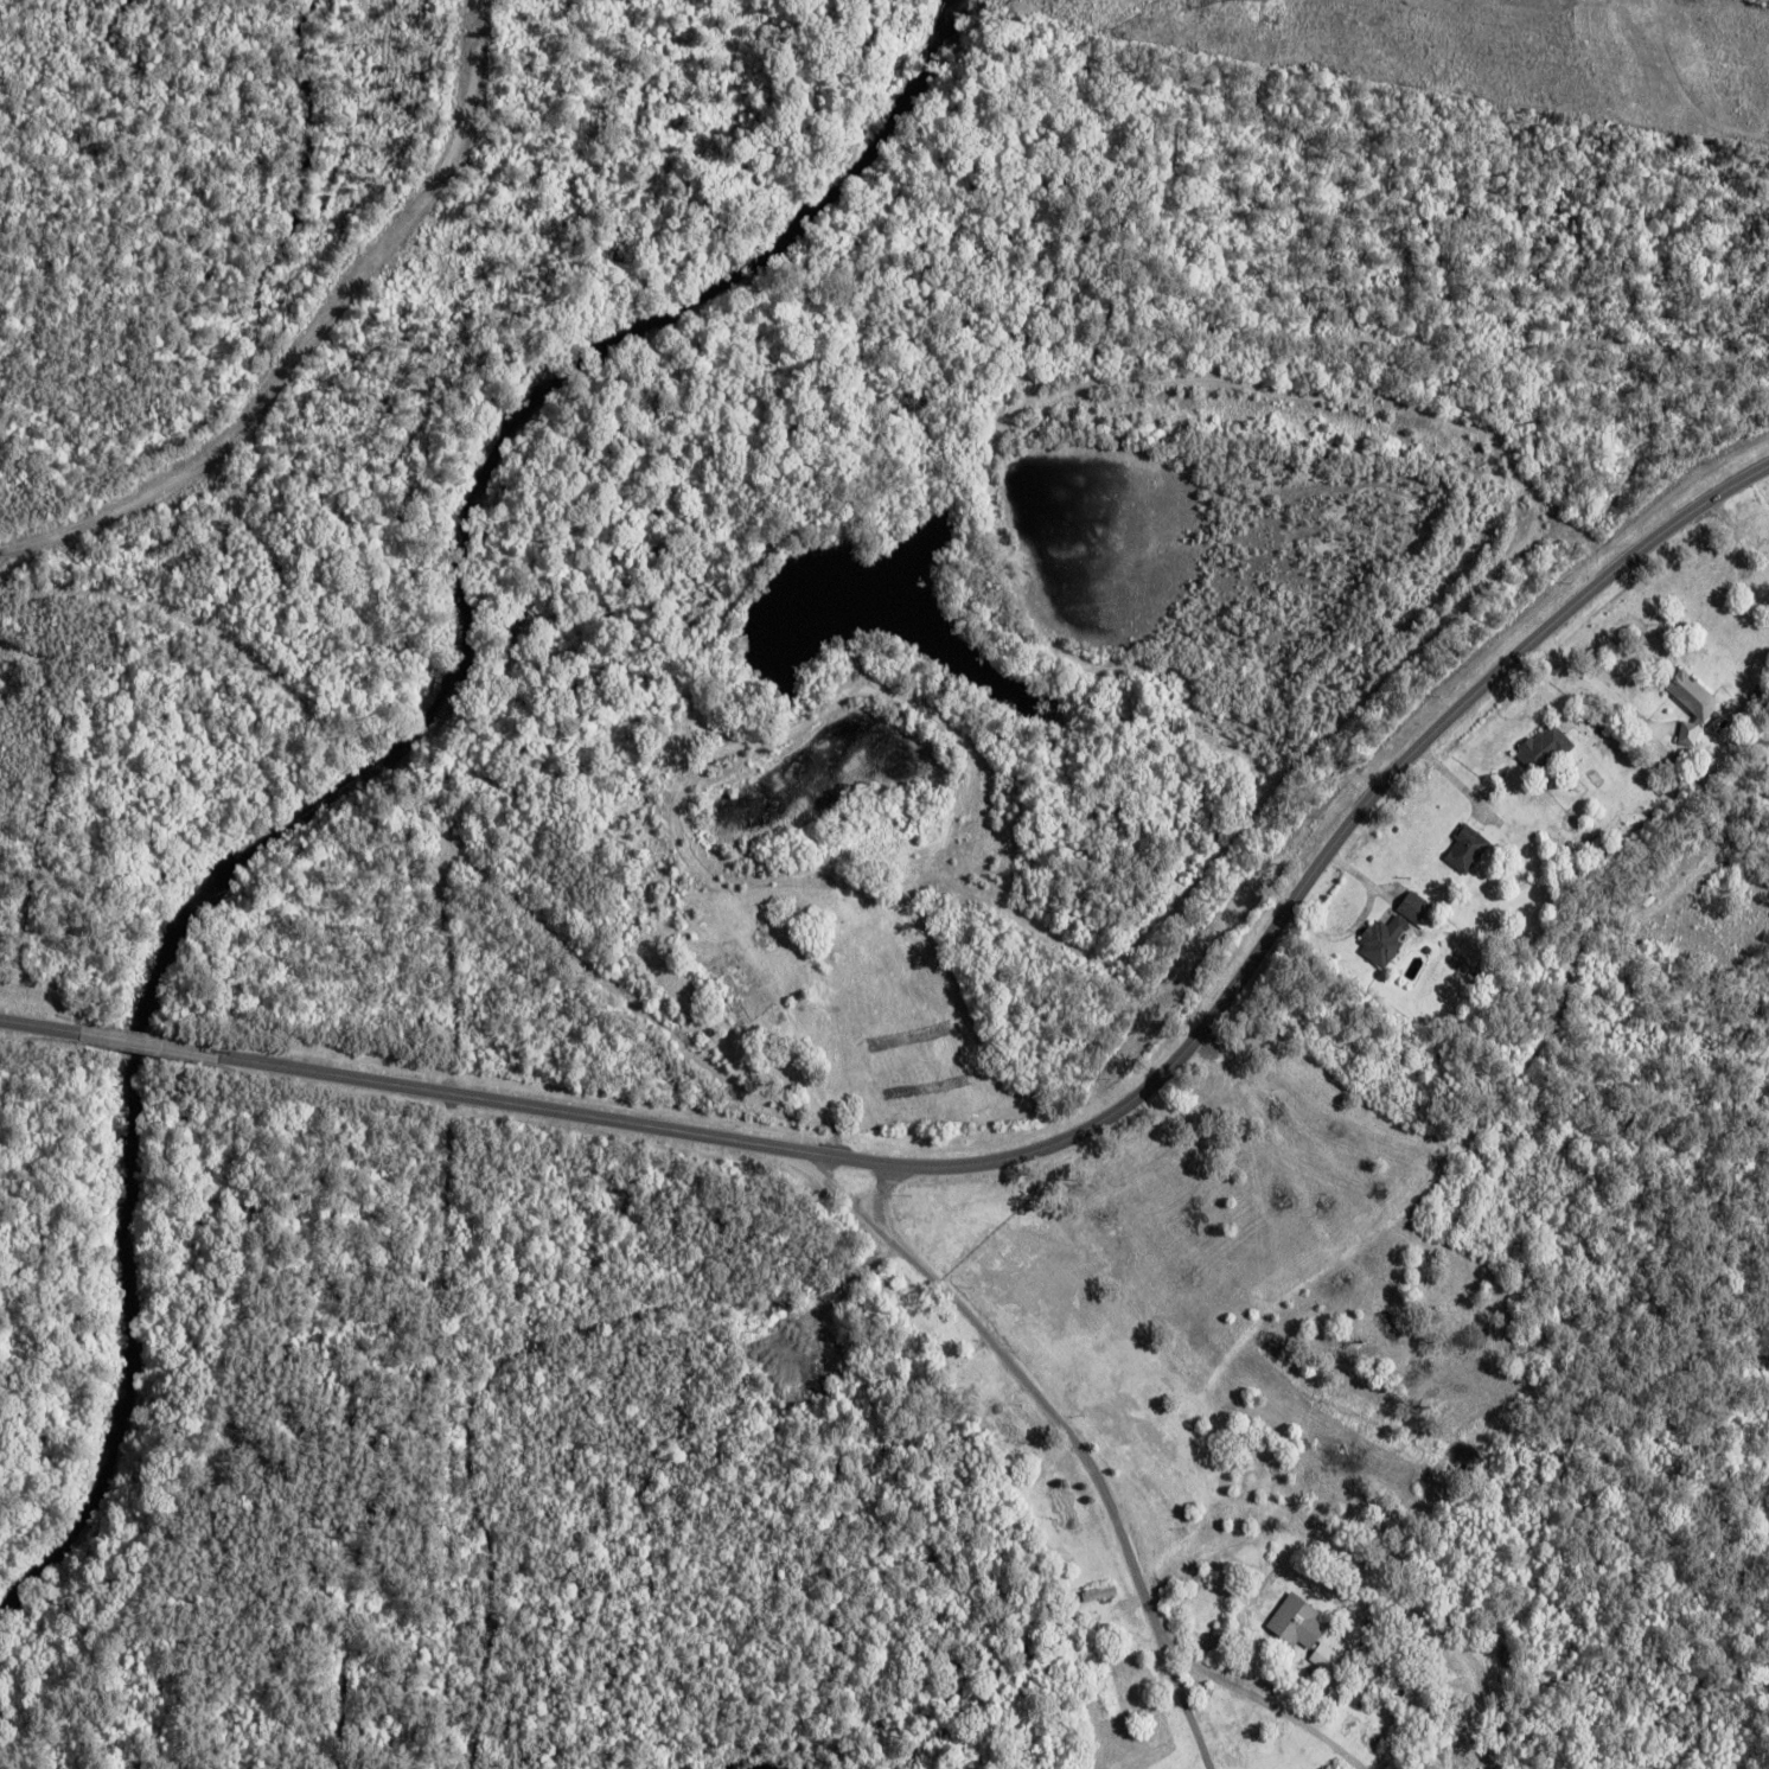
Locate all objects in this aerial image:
power tower: (1262, 1)
road: (308, 334)
building: (1697, 695)
building: (1692, 733)
river: (375, 742)
building: (1546, 745)
building: (1468, 845)
building: (1418, 907)
road: (1272, 930)
building: (1385, 938)
road: (38, 1027)
road: (148, 1046)
road: (453, 1093)
road: (887, 1190)
road: (503, 1361)
building: (964, 1371)
road: (1023, 1378)
building: (1007, 1422)
building: (1061, 1502)
building: (1110, 1595)
building: (1298, 1620)
building: (1116, 1622)
building: (1374, 1624)
building: (1326, 1655)
building: (1360, 1655)
building: (1123, 1668)
building: (1307, 1675)
road: (1203, 1677)
building: (1436, 1711)

